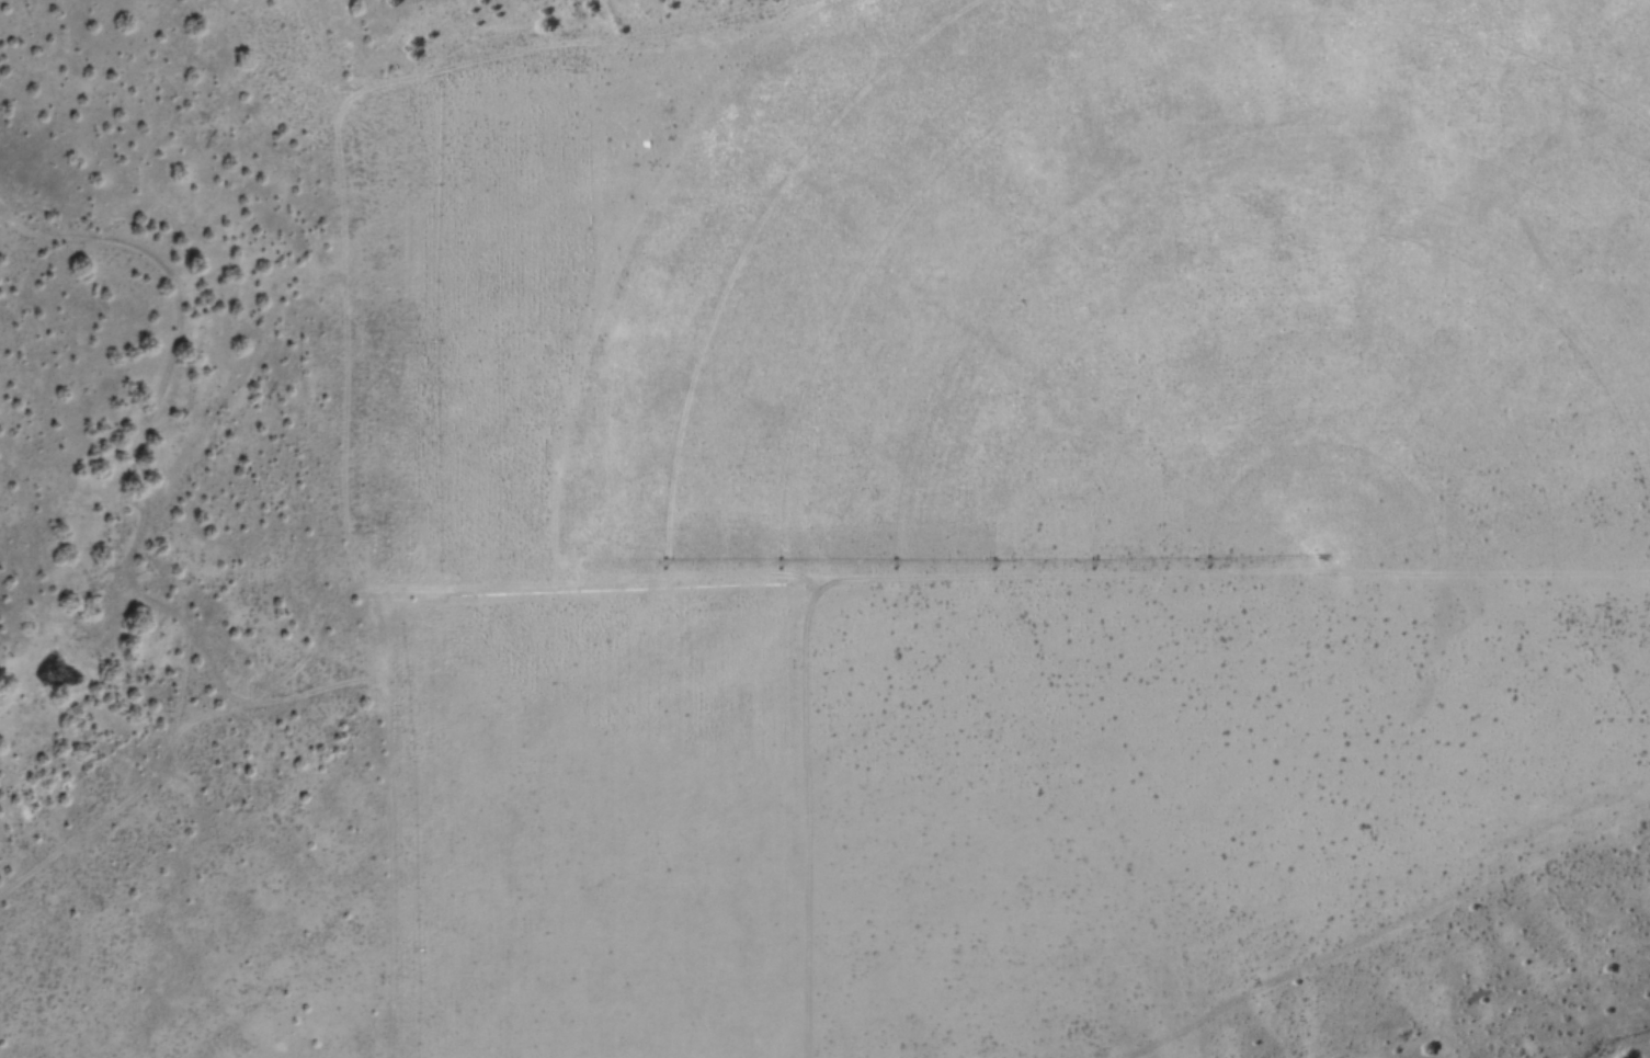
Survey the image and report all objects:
crop: (919, 545)

